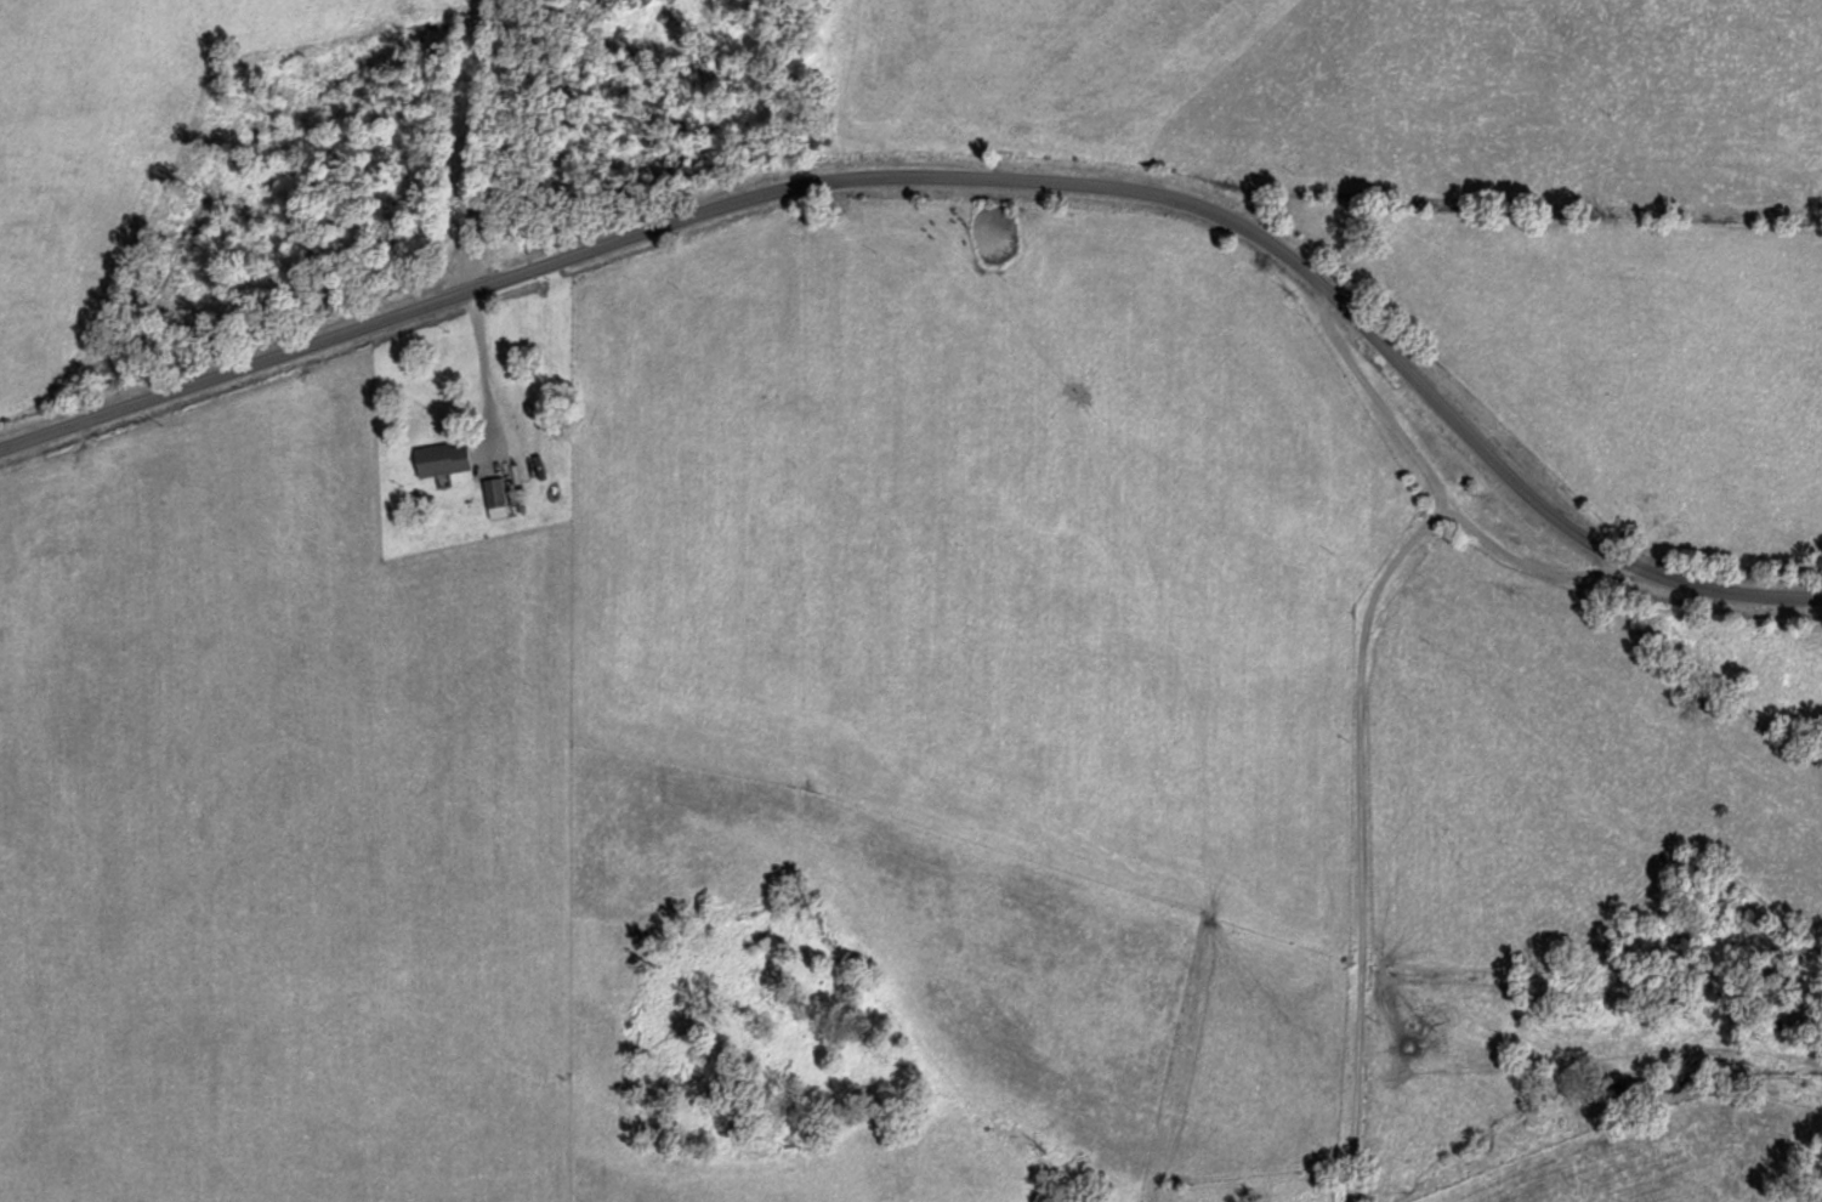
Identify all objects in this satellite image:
road: (487, 140)
road: (960, 175)
building: (447, 458)
road: (1431, 482)
building: (499, 497)
road: (1357, 835)

